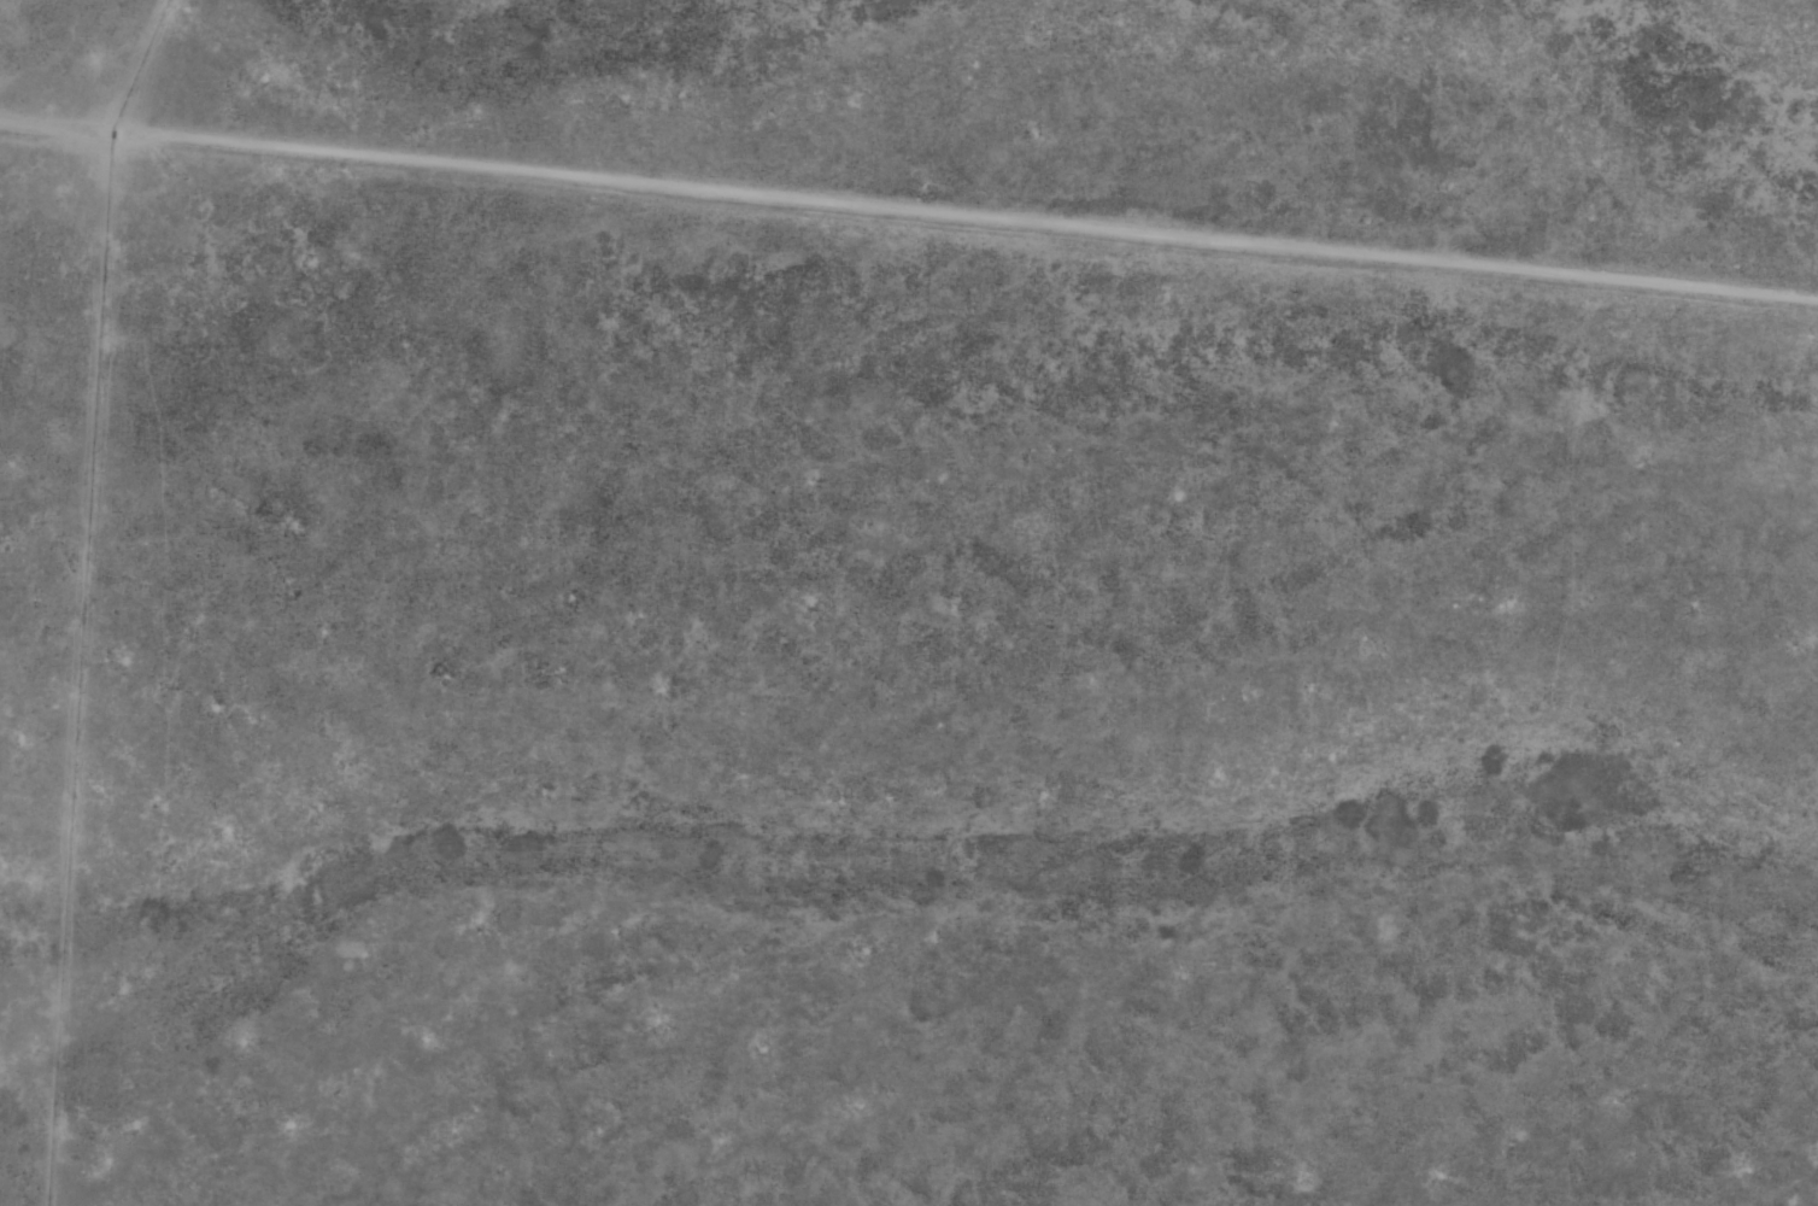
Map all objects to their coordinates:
road: (907, 177)

